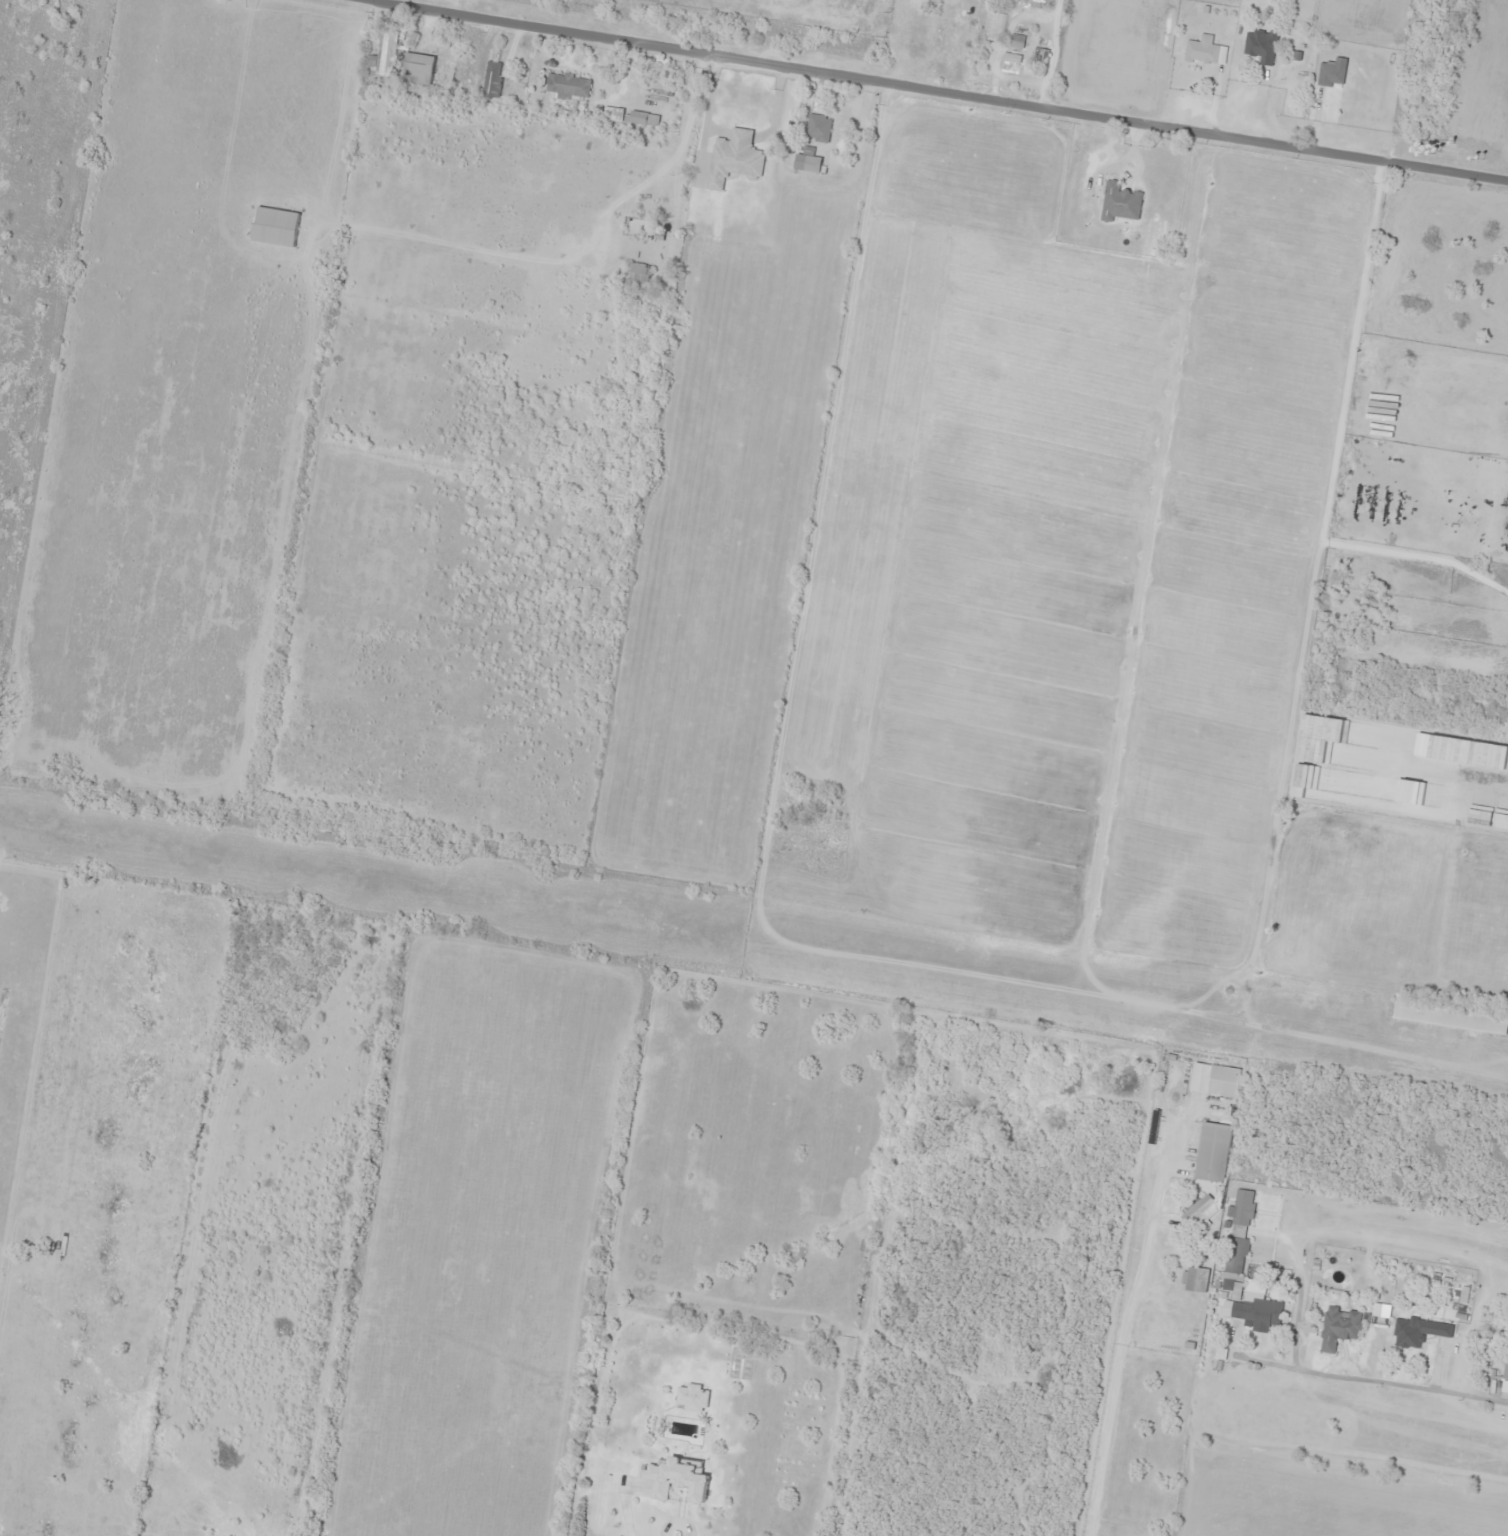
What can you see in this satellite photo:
building: (993, 26)
building: (949, 39)
building: (1261, 45)
building: (1205, 50)
building: (387, 52)
building: (1040, 57)
building: (419, 68)
building: (1332, 72)
building: (492, 79)
building: (568, 85)
road: (950, 91)
building: (630, 116)
building: (818, 128)
building: (734, 158)
building: (807, 163)
building: (1120, 202)
building: (275, 226)
building: (638, 276)
building: (800, 846)
building: (1441, 1013)
building: (1214, 1080)
building: (1212, 1152)
building: (1242, 1207)
building: (1236, 1255)
building: (1195, 1279)
building: (1258, 1311)
building: (1339, 1327)
building: (1409, 1332)
building: (1505, 1372)

